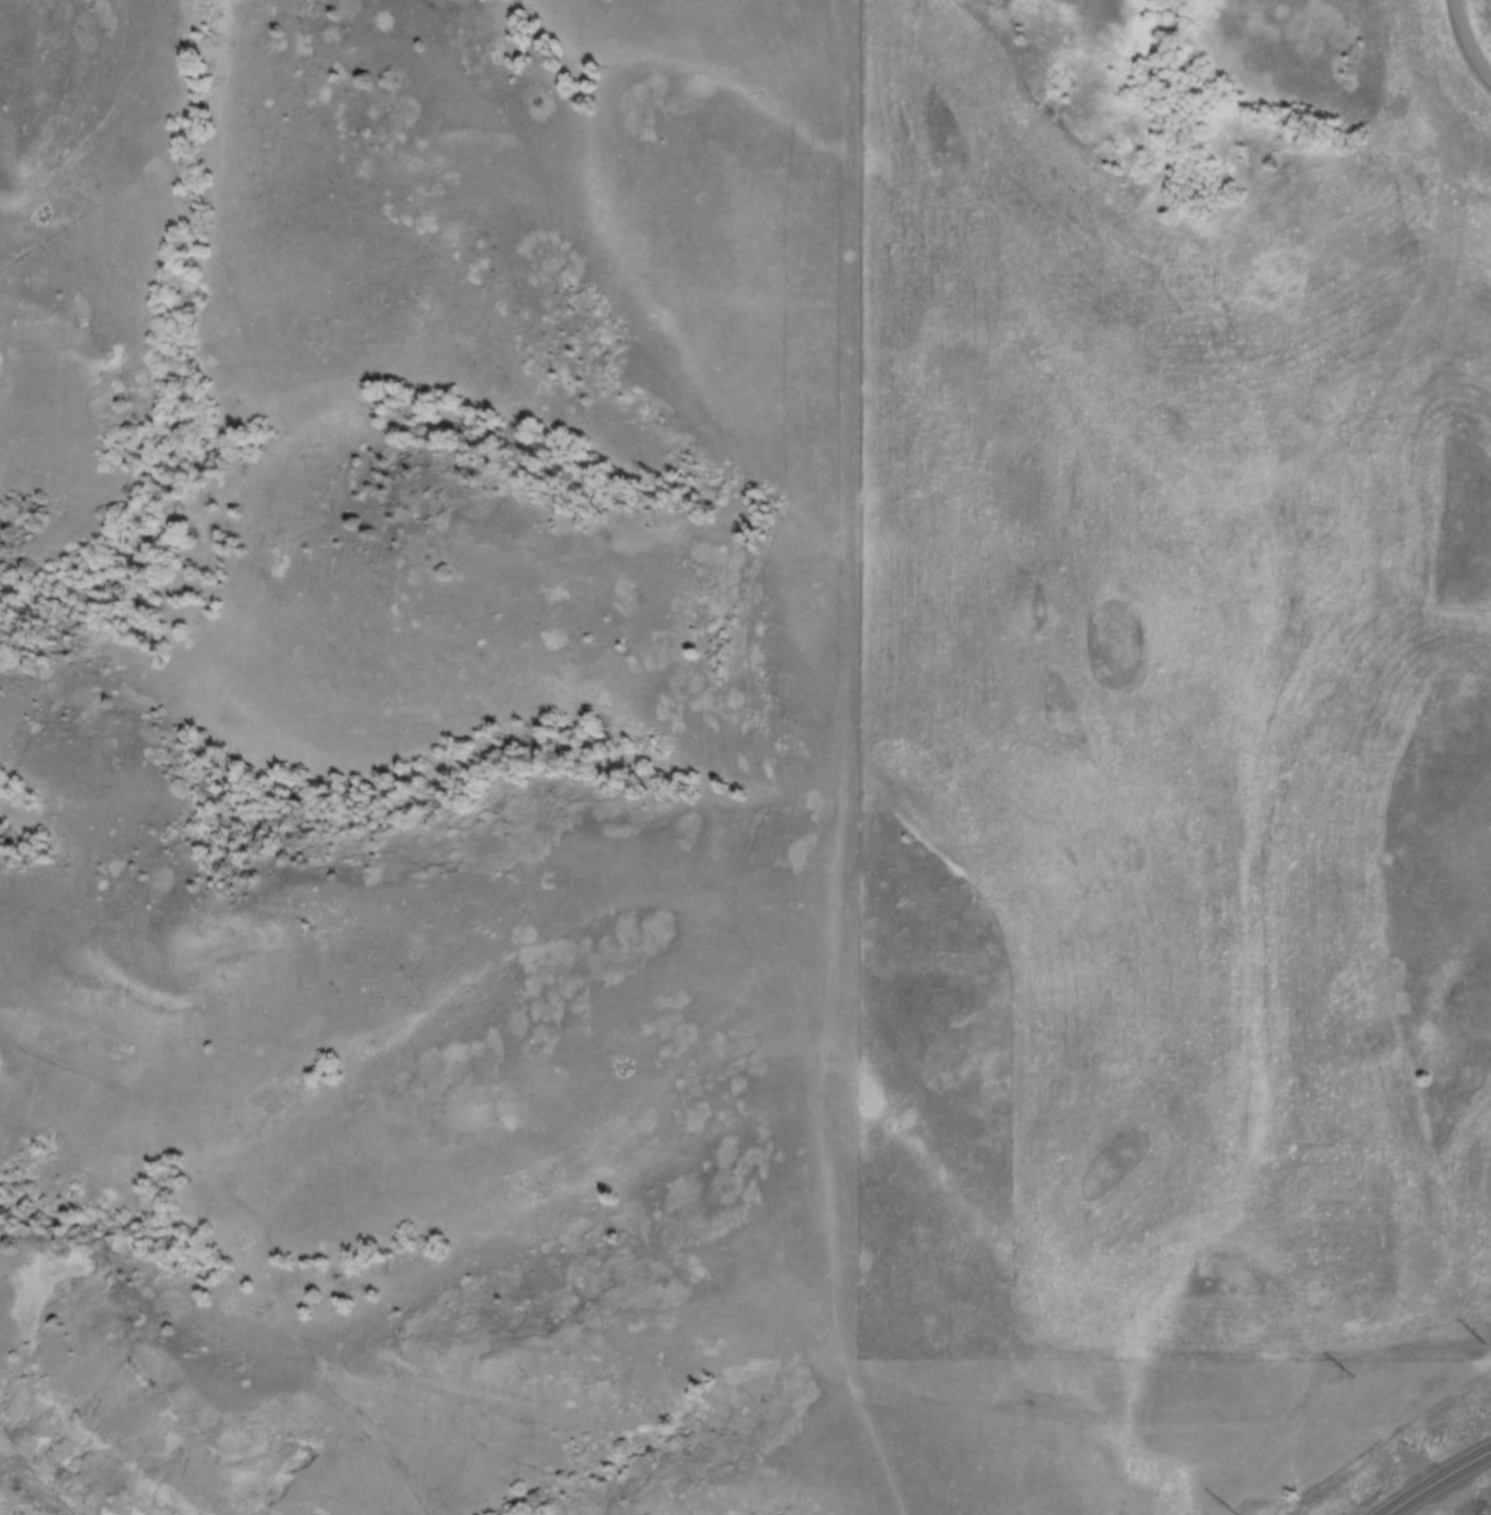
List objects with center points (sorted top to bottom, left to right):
road: (1461, 51)
road: (1422, 1467)

